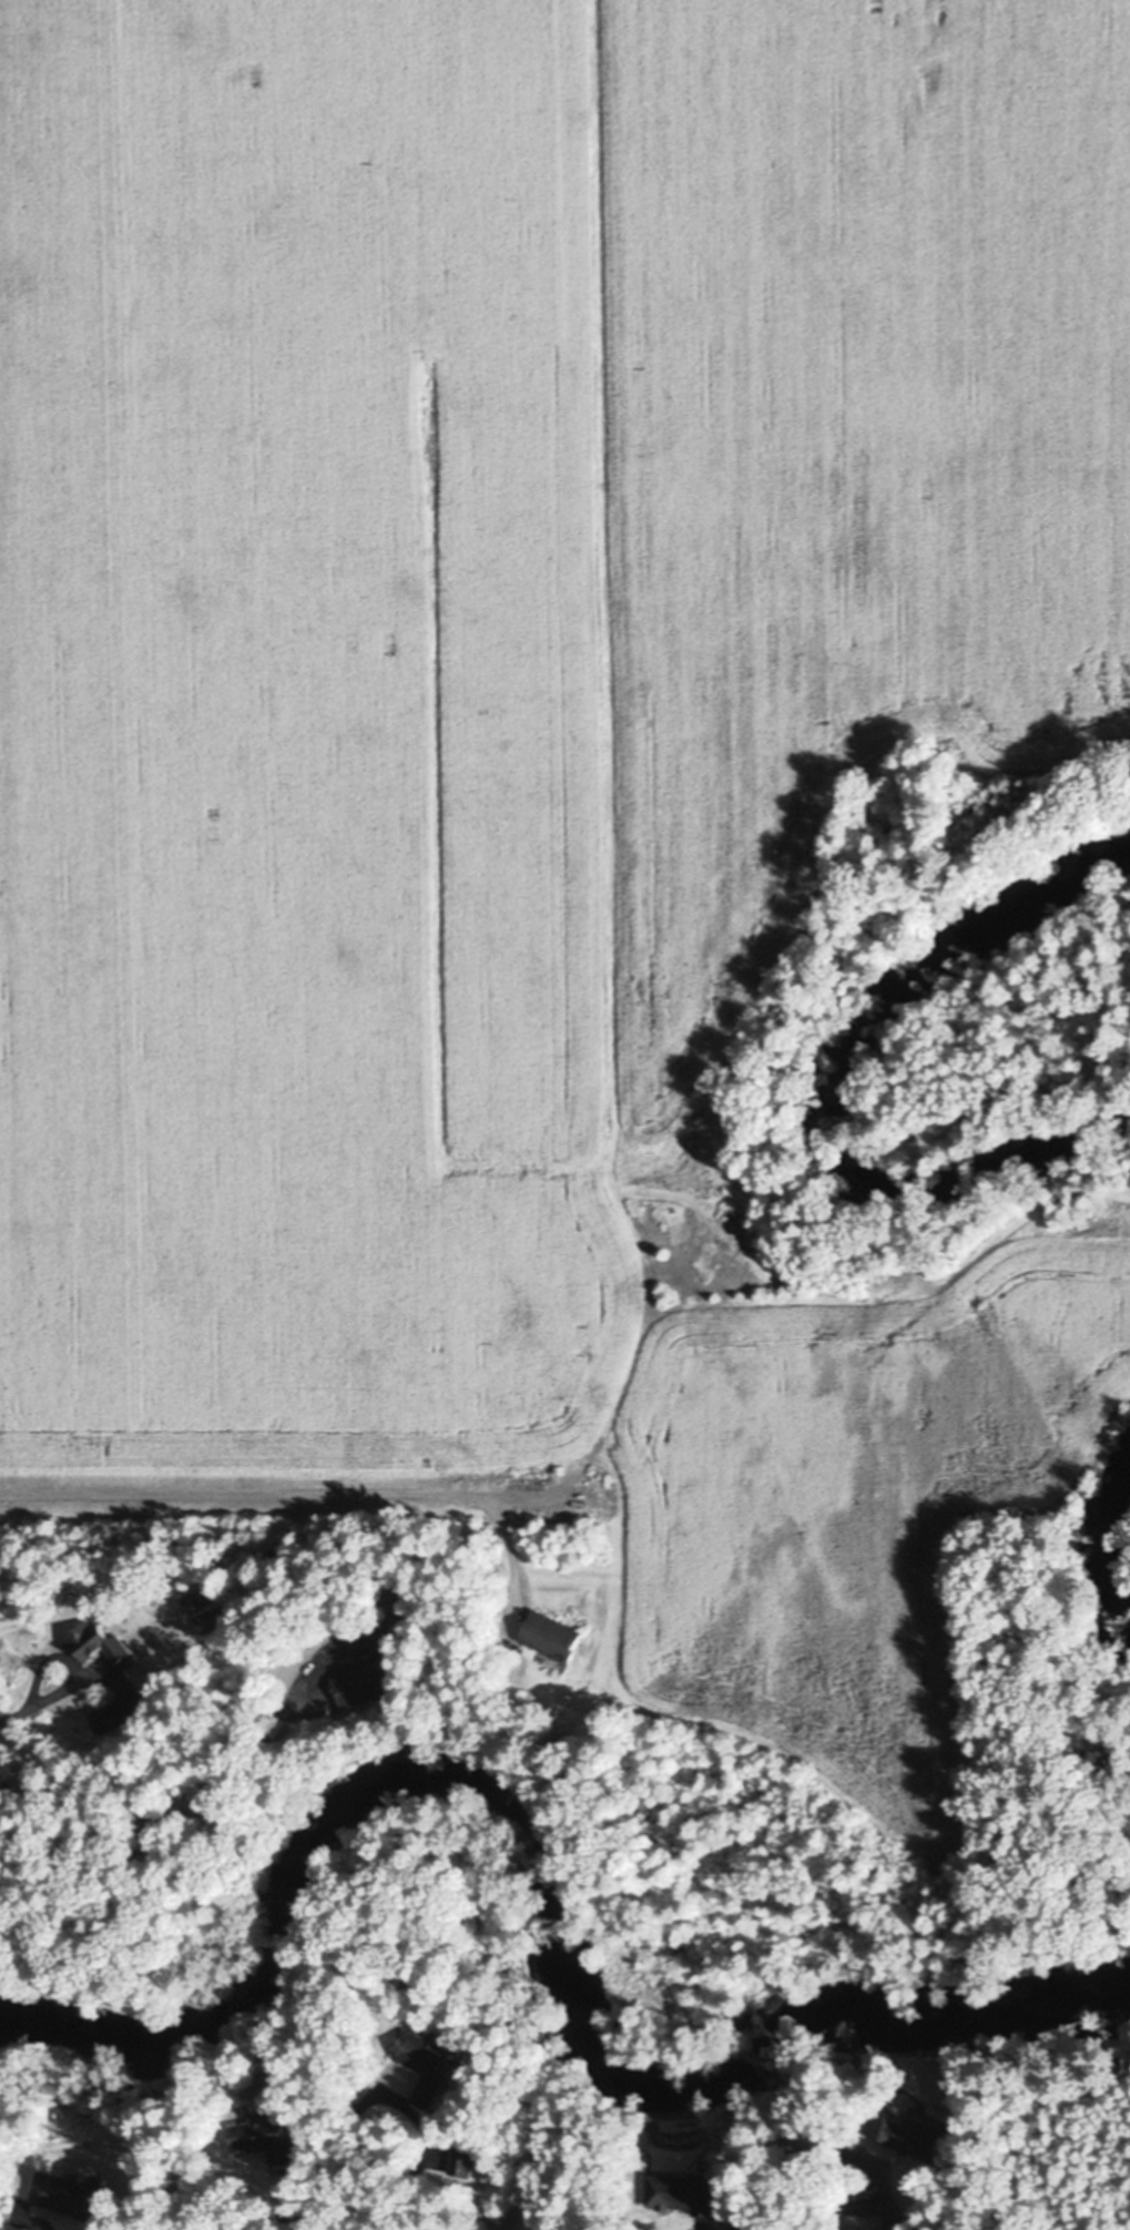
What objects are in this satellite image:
river: (835, 1087)
road: (294, 1495)
river: (1108, 1544)
building: (368, 1633)
building: (550, 1637)
building: (95, 1646)
road: (40, 1664)
building: (366, 1684)
road: (59, 1699)
building: (119, 1714)
road: (12, 1715)
road: (174, 1809)
river: (567, 1882)
building: (427, 2067)
road: (384, 2097)
building: (905, 2136)
building: (263, 2140)
building: (460, 2161)
building: (681, 2195)
building: (65, 2197)
road: (288, 2200)
road: (904, 2208)
building: (858, 2223)
road: (693, 2229)

